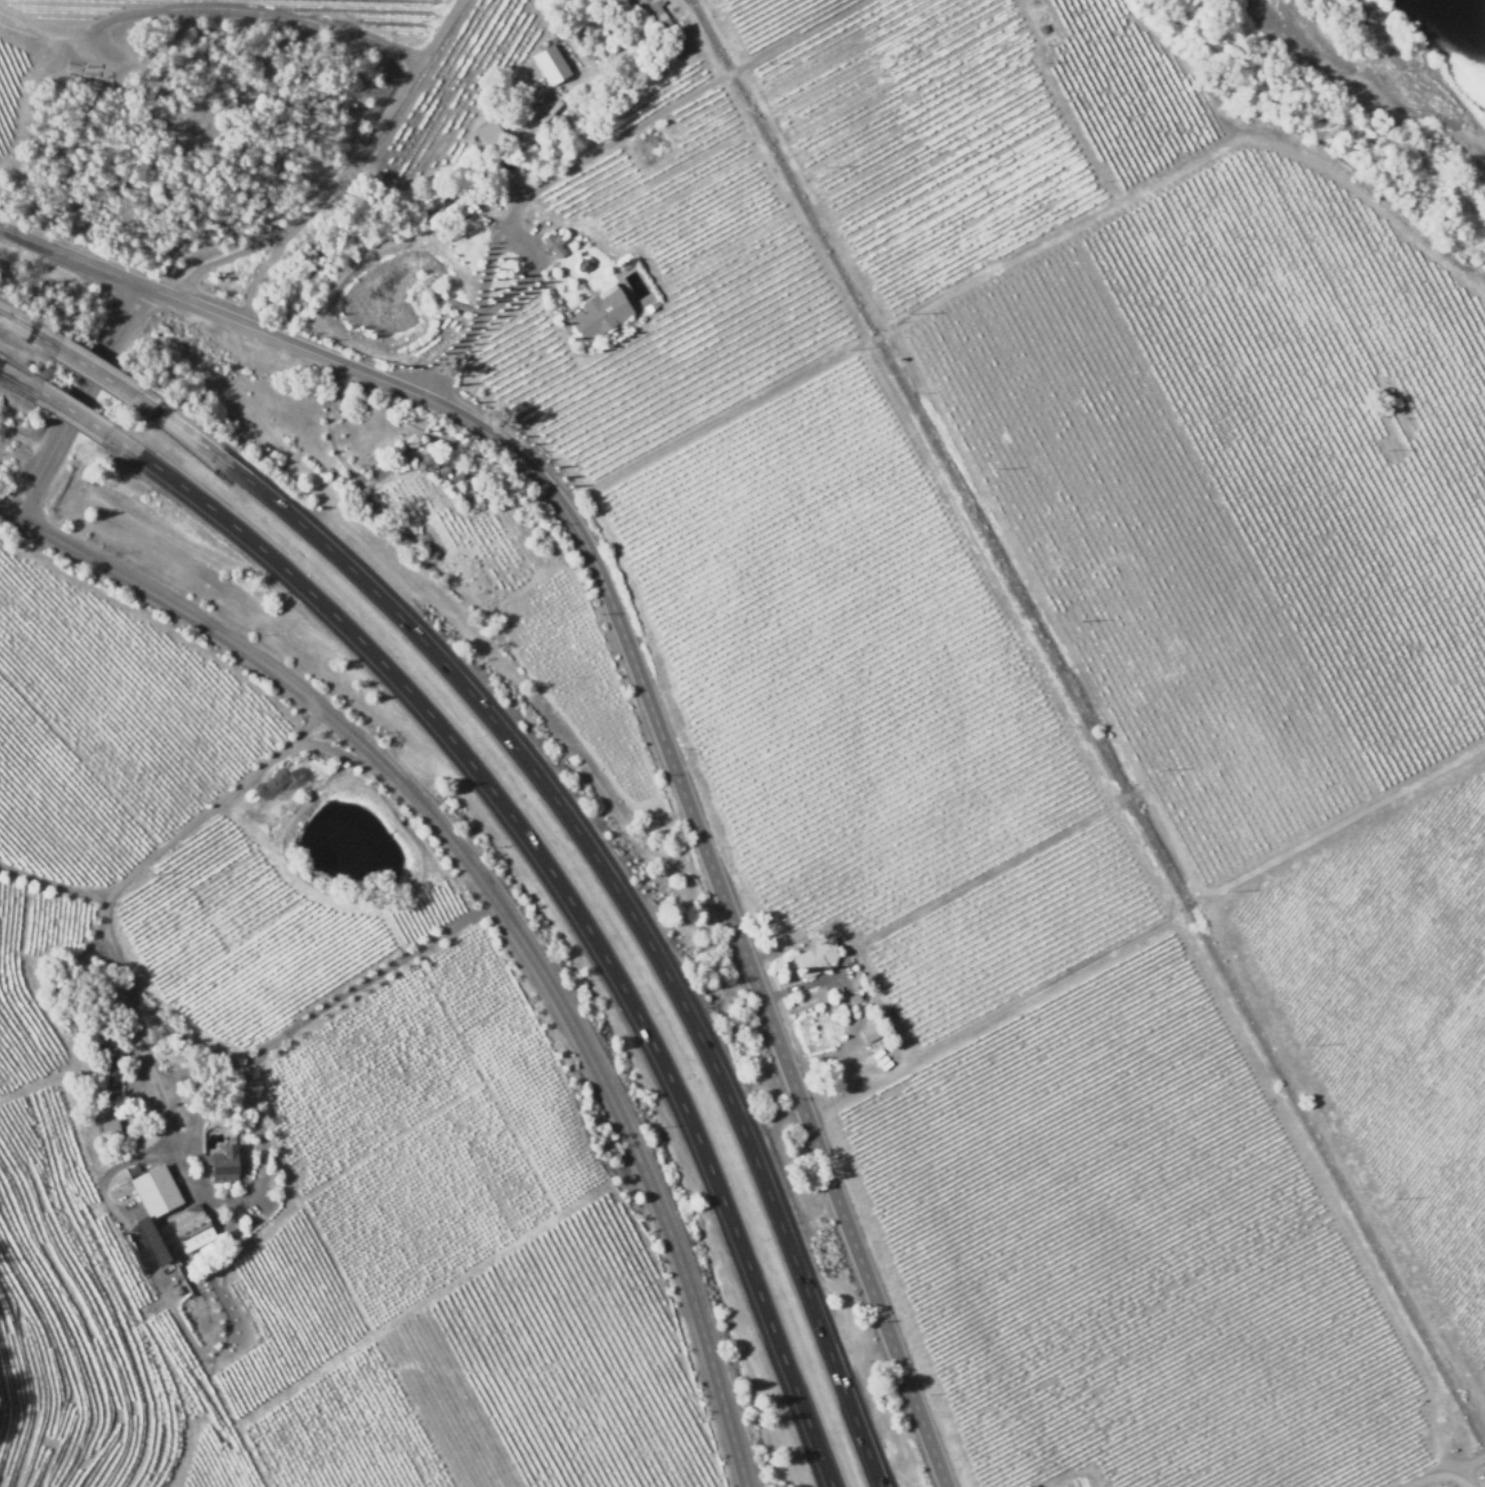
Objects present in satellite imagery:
building: (654, 13)
building: (557, 61)
building: (489, 139)
building: (463, 211)
building: (553, 244)
road: (74, 259)
building: (581, 265)
building: (600, 314)
road: (30, 338)
road: (19, 382)
road: (103, 382)
road: (86, 409)
road: (82, 420)
road: (12, 517)
railway: (1088, 726)
road: (676, 772)
road: (613, 878)
road: (575, 901)
road: (506, 914)
building: (815, 958)
building: (856, 999)
road: (310, 1020)
building: (870, 1033)
building: (110, 1078)
building: (109, 1129)
building: (224, 1164)
building: (150, 1190)
parking lot: (238, 1207)
building: (189, 1226)
road: (1451, 1471)

